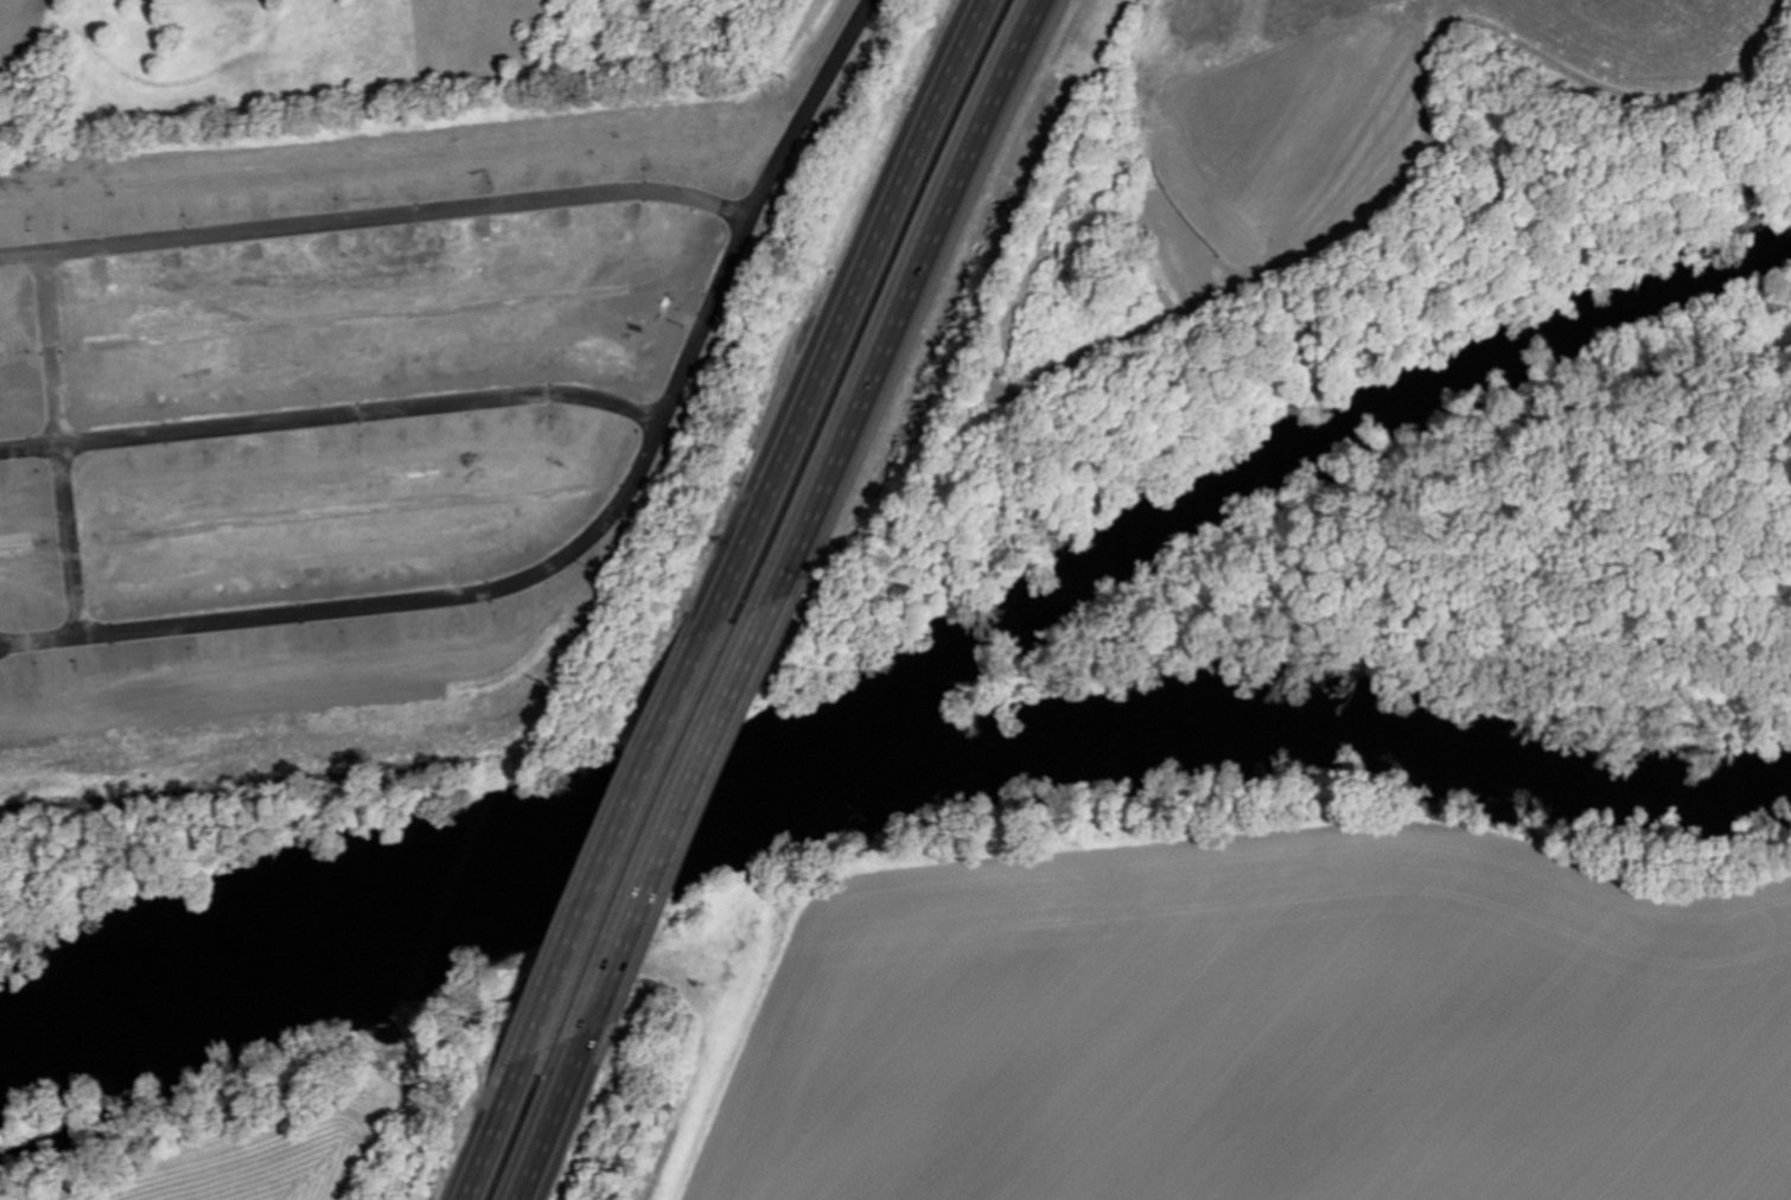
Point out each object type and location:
road: (372, 213)
road: (912, 302)
road: (850, 309)
road: (49, 345)
road: (331, 416)
road: (588, 536)
road: (68, 538)
river: (906, 677)
road: (664, 823)
road: (612, 840)
road: (543, 1122)
road: (487, 1130)

